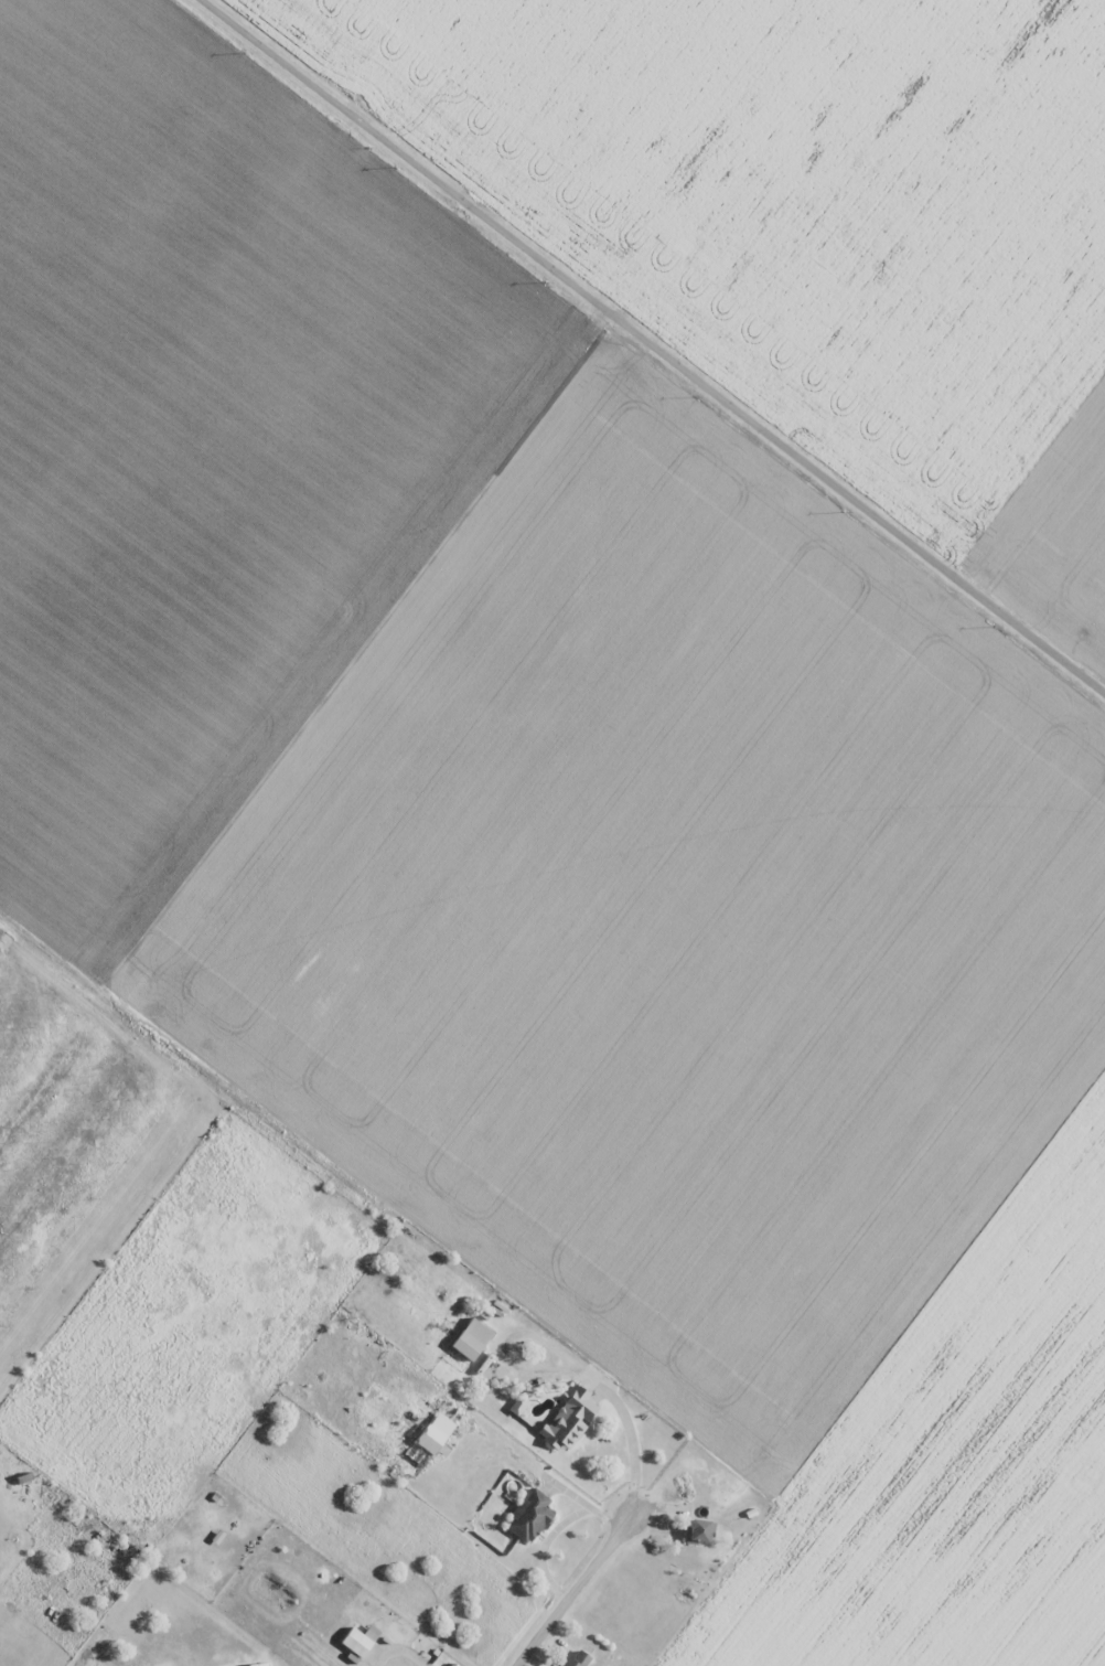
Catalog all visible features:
road: (647, 348)
building: (474, 1343)
building: (569, 1420)
building: (436, 1435)
road: (630, 1439)
building: (529, 1516)
building: (697, 1531)
road: (551, 1532)
building: (225, 1545)
road: (578, 1587)
building: (361, 1645)
building: (575, 1658)

